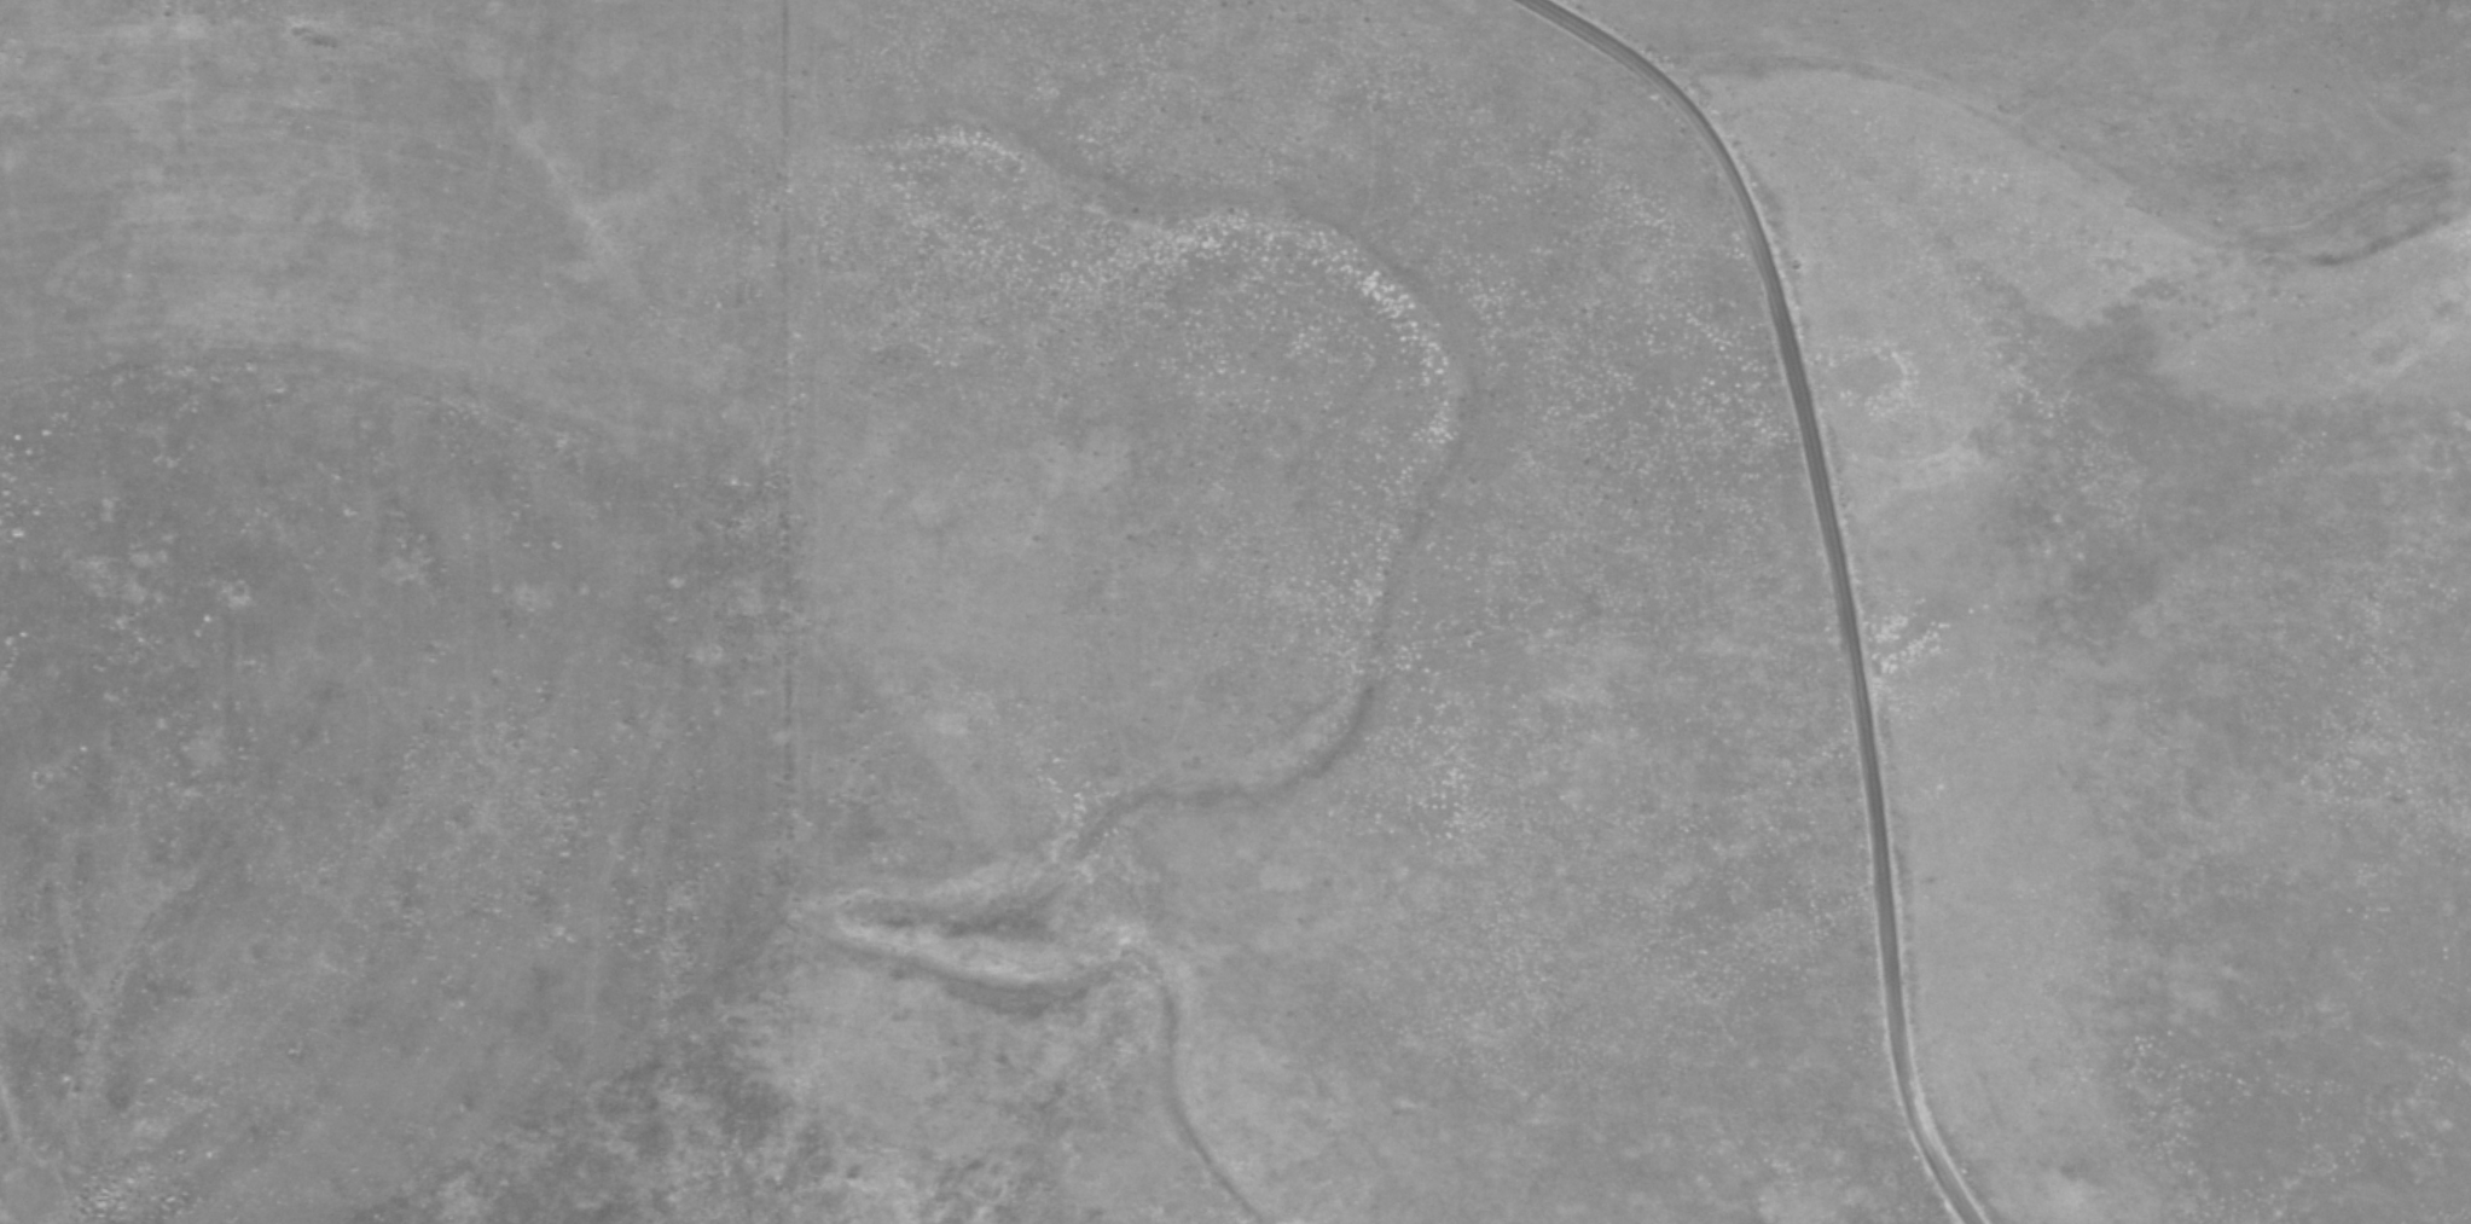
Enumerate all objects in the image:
road: (1834, 573)

